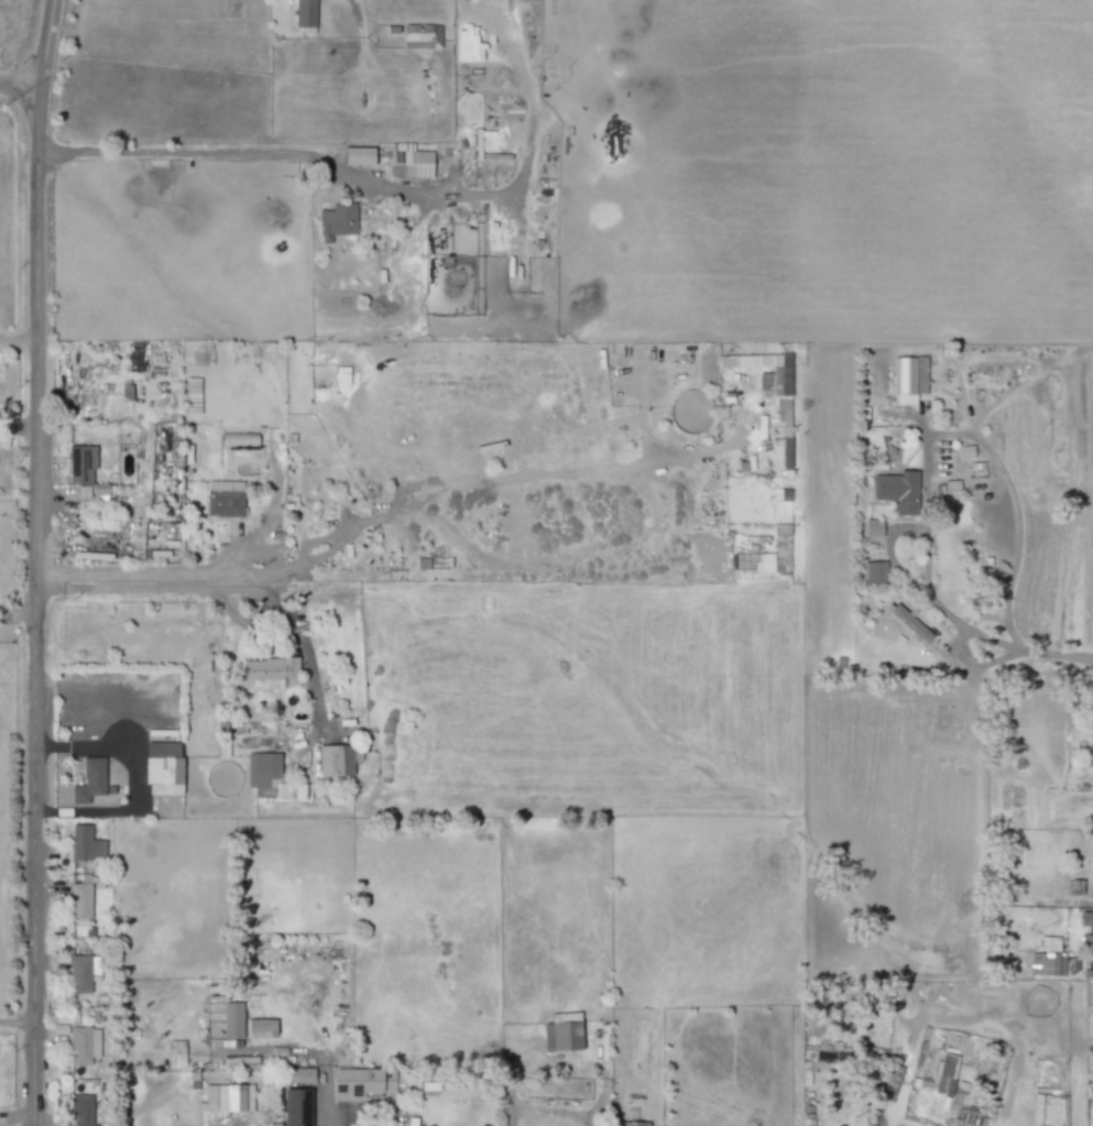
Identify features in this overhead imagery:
building: (420, 36)
road: (42, 47)
road: (17, 92)
building: (354, 156)
road: (250, 162)
building: (407, 162)
building: (335, 221)
road: (20, 340)
building: (908, 379)
building: (770, 390)
building: (237, 440)
road: (983, 444)
building: (964, 452)
building: (79, 464)
building: (947, 487)
building: (895, 491)
building: (89, 494)
building: (221, 500)
building: (872, 528)
building: (776, 554)
road: (888, 557)
building: (873, 572)
road: (163, 589)
road: (37, 610)
road: (19, 614)
road: (984, 617)
building: (908, 624)
road: (1003, 645)
road: (302, 653)
building: (267, 671)
building: (1091, 753)
building: (336, 761)
building: (161, 769)
building: (262, 775)
building: (88, 781)
building: (85, 844)
building: (1092, 865)
building: (79, 901)
building: (1092, 930)
building: (1048, 955)
building: (78, 974)
building: (230, 1020)
road: (17, 1021)
building: (560, 1032)
road: (1007, 1035)
building: (81, 1045)
building: (175, 1054)
building: (946, 1067)
building: (296, 1076)
building: (361, 1081)
building: (231, 1097)
building: (208, 1100)
building: (294, 1107)
building: (83, 1109)
road: (512, 1115)
road: (338, 1116)
building: (629, 1124)
building: (1034, 1125)

